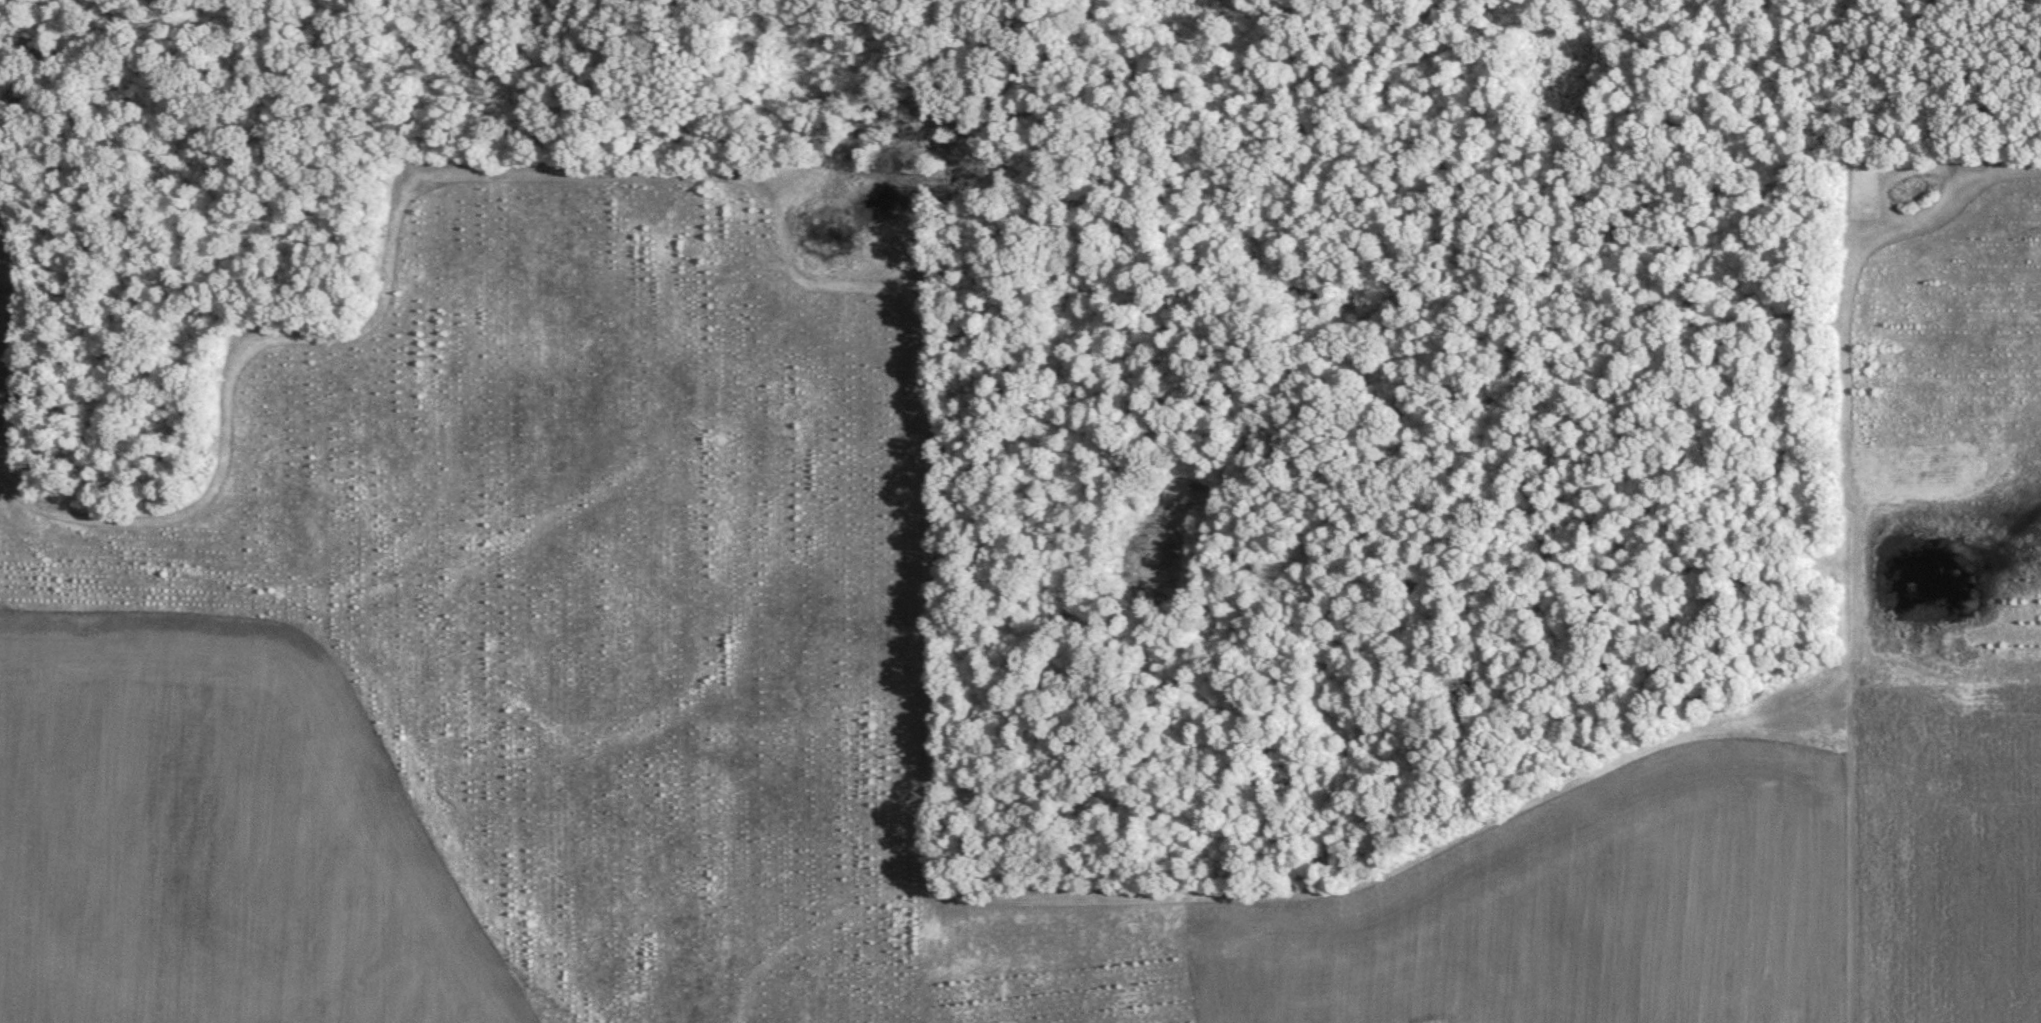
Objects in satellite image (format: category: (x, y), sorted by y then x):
crop: (1948, 852)

